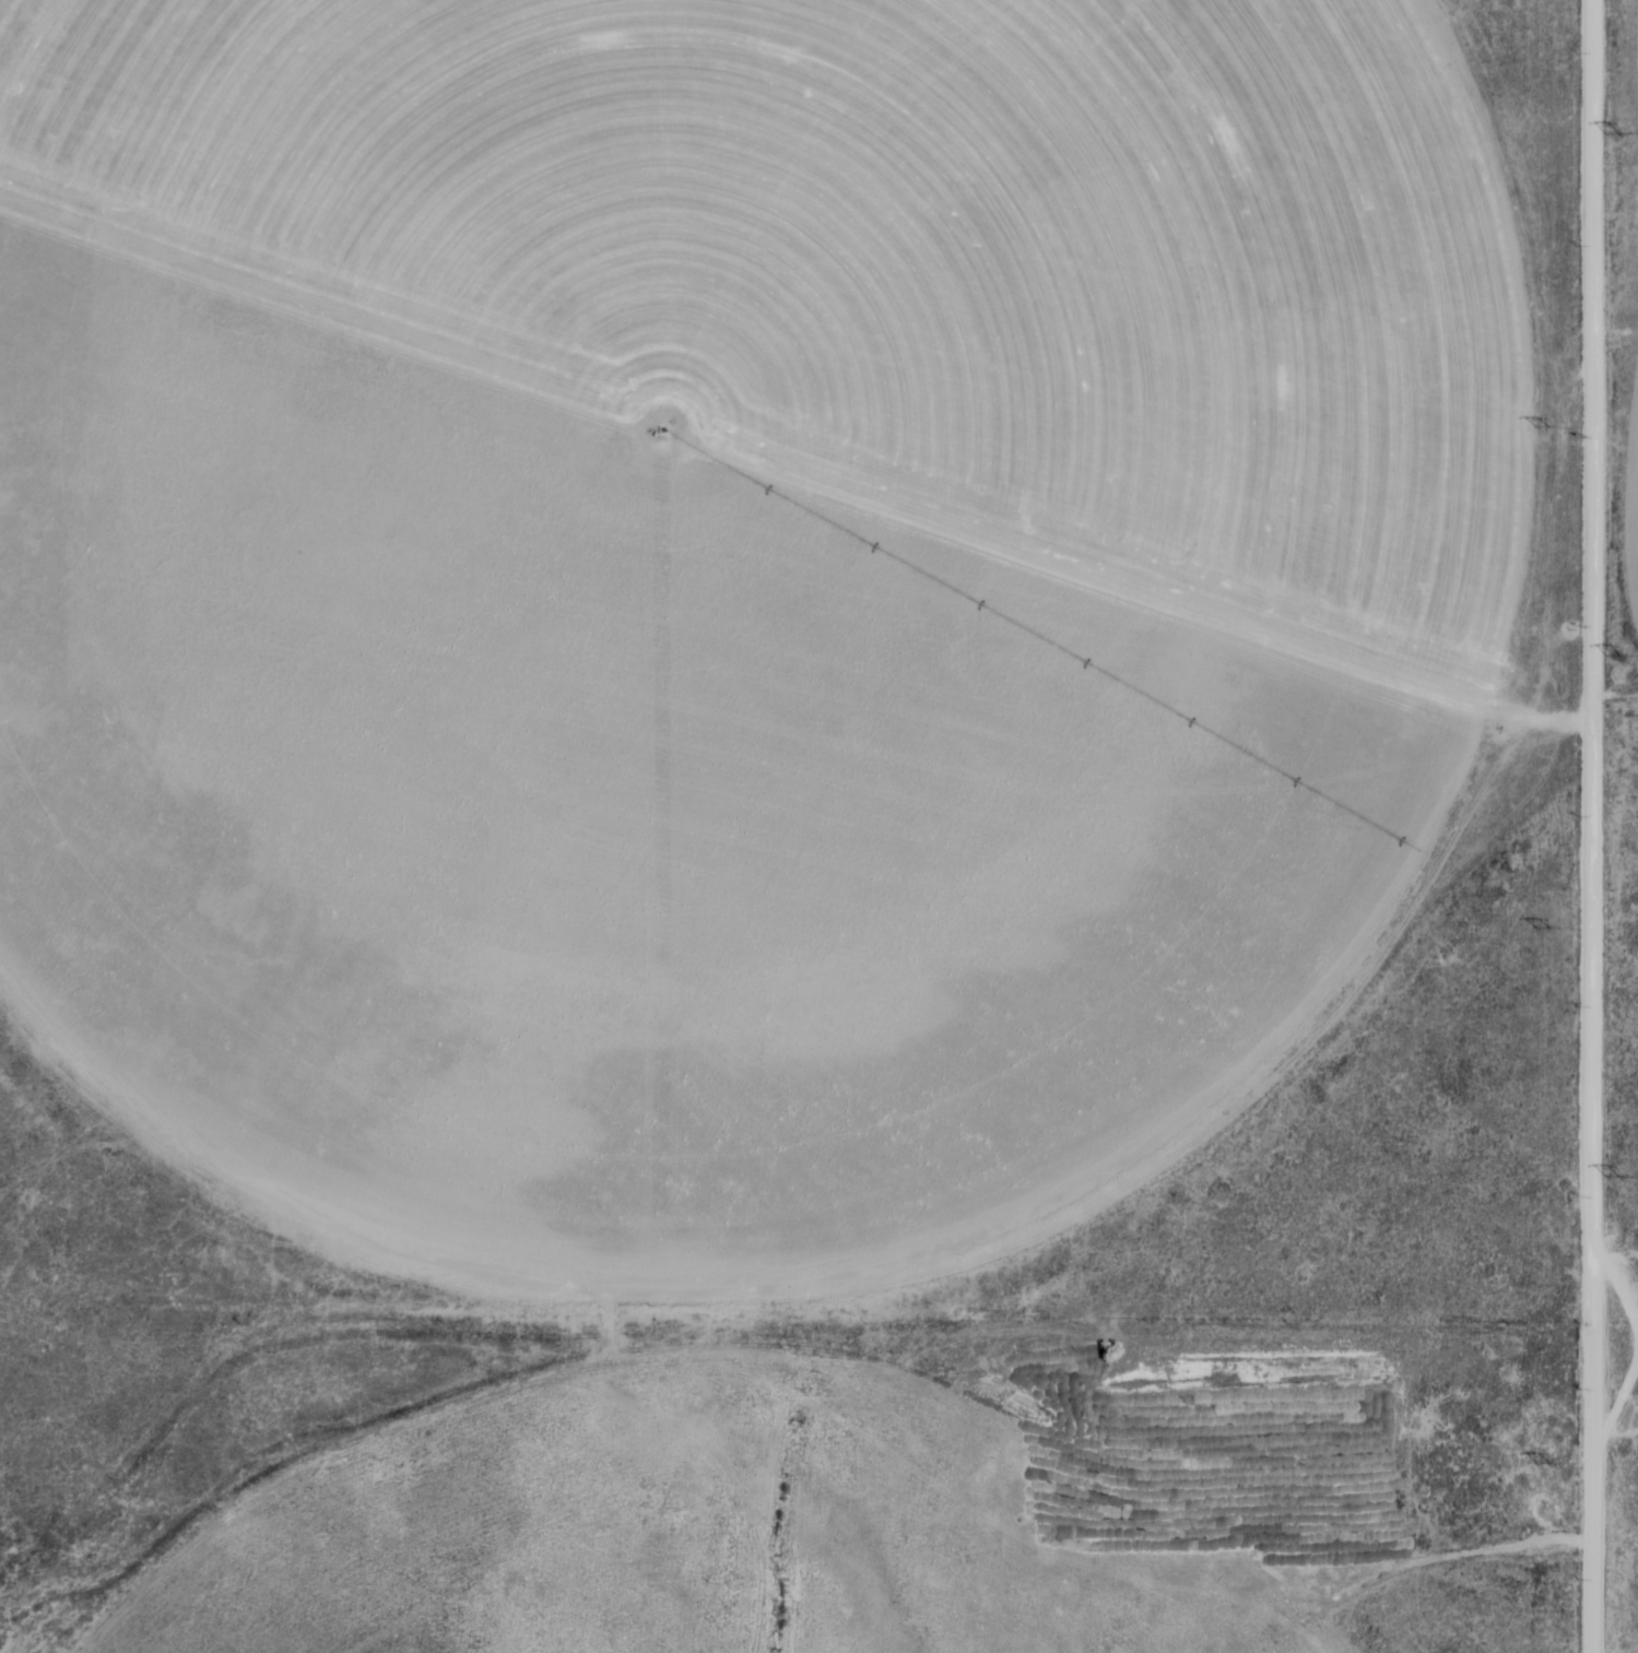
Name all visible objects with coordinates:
power tower: (1617, 135)
power tower: (1543, 423)
road: (1618, 481)
power tower: (1617, 656)
road: (1596, 725)
power tower: (1545, 928)
power tower: (1616, 1174)
road: (1616, 1284)
power tower: (1546, 1462)
road: (1594, 1507)

